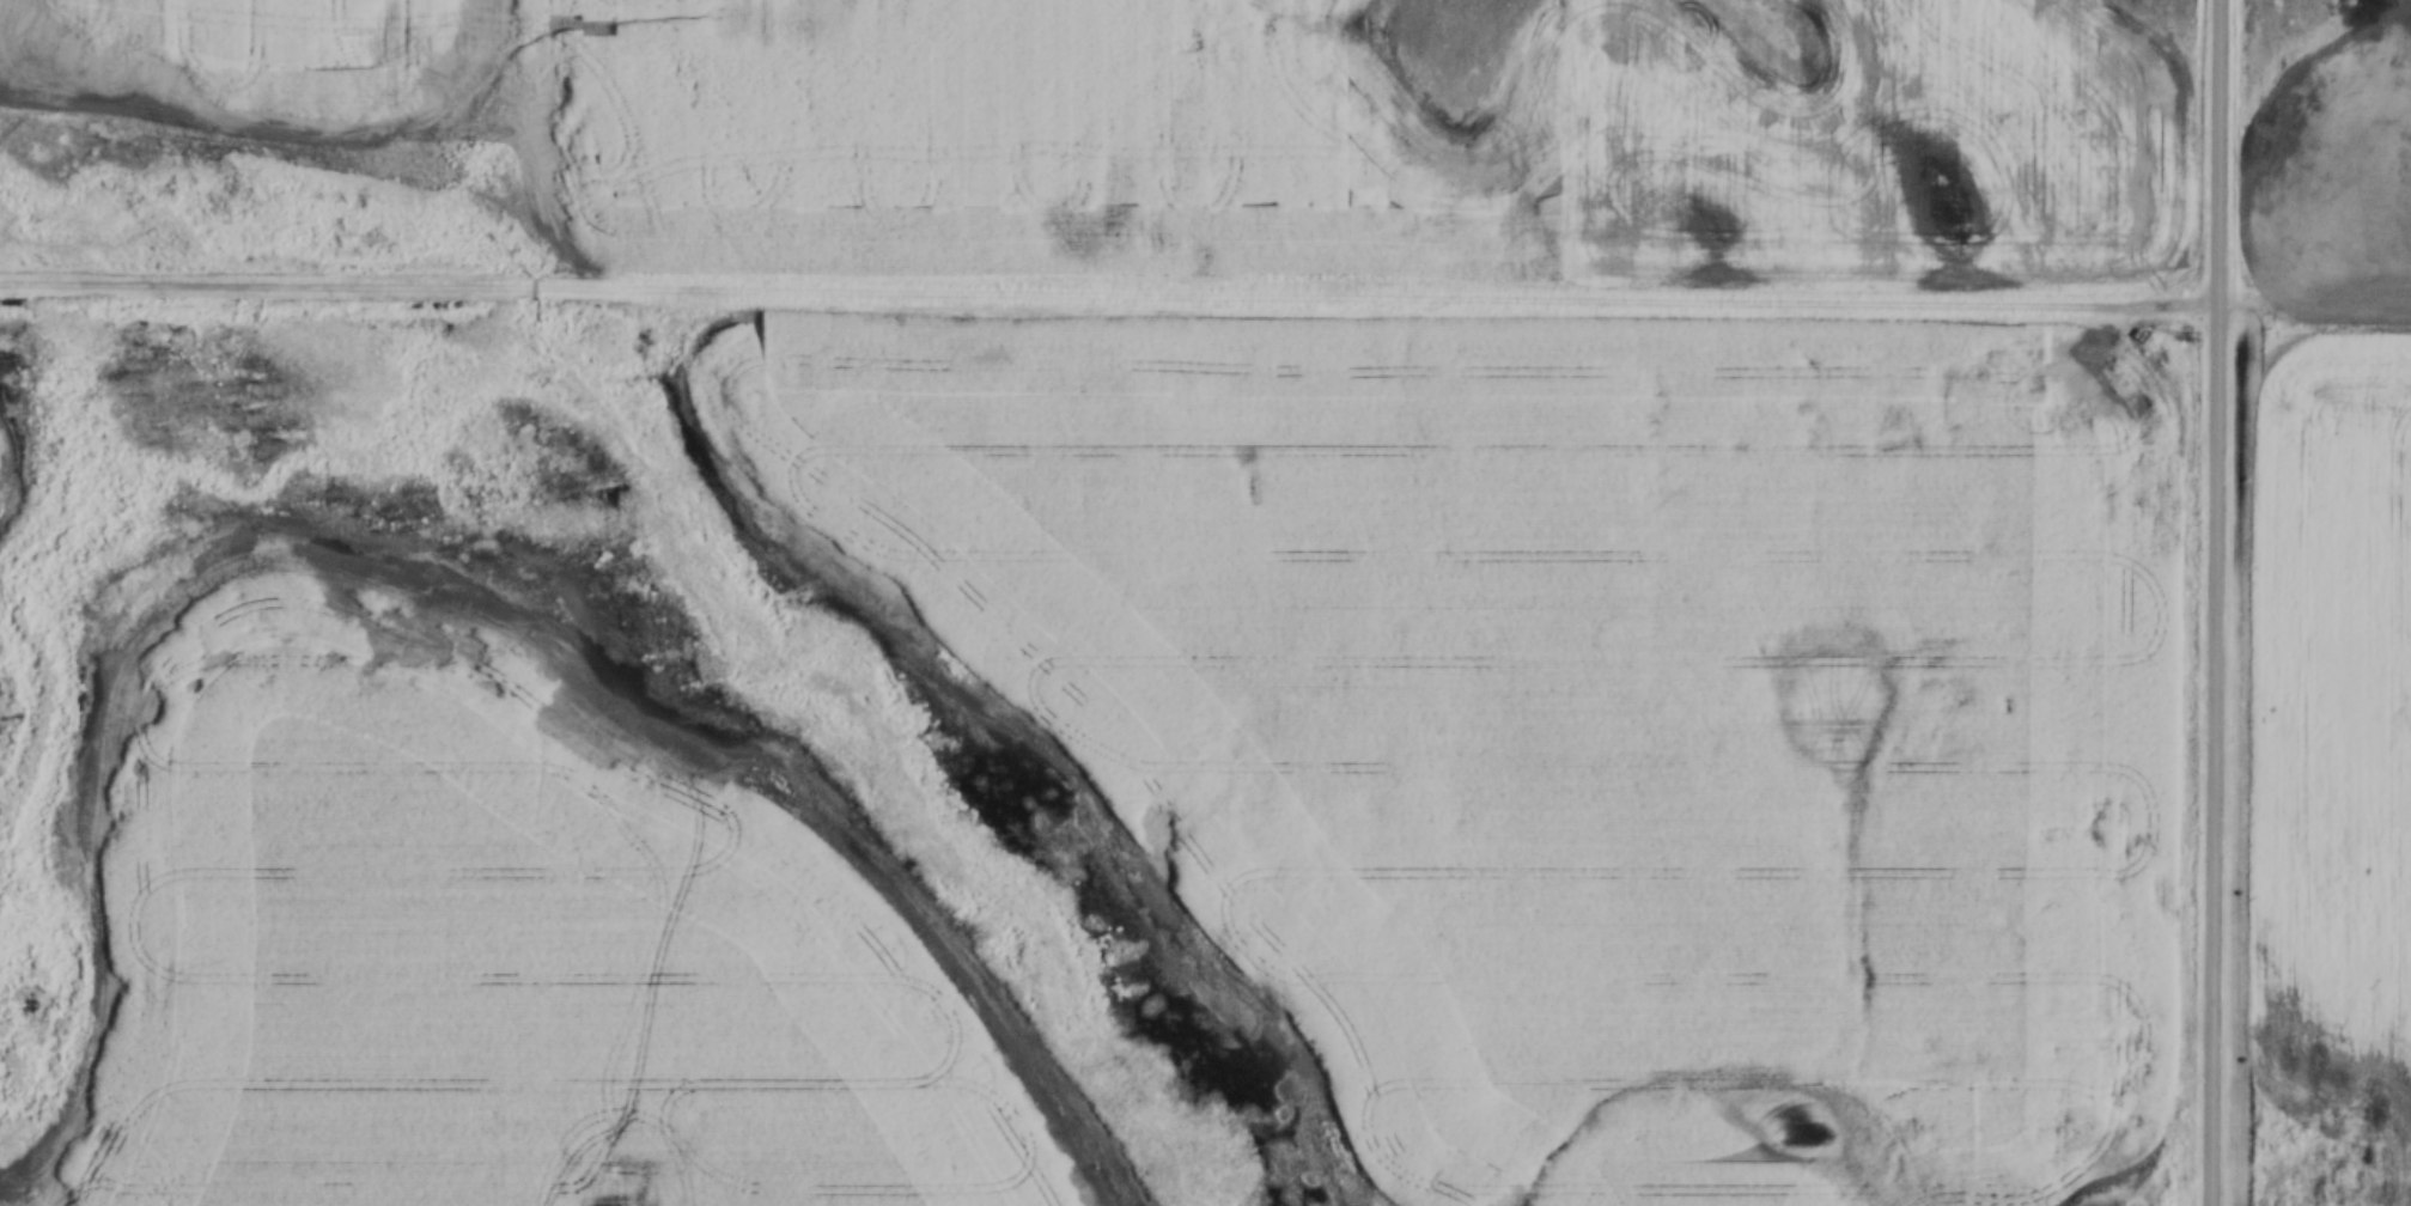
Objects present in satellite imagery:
road: (2215, 603)

